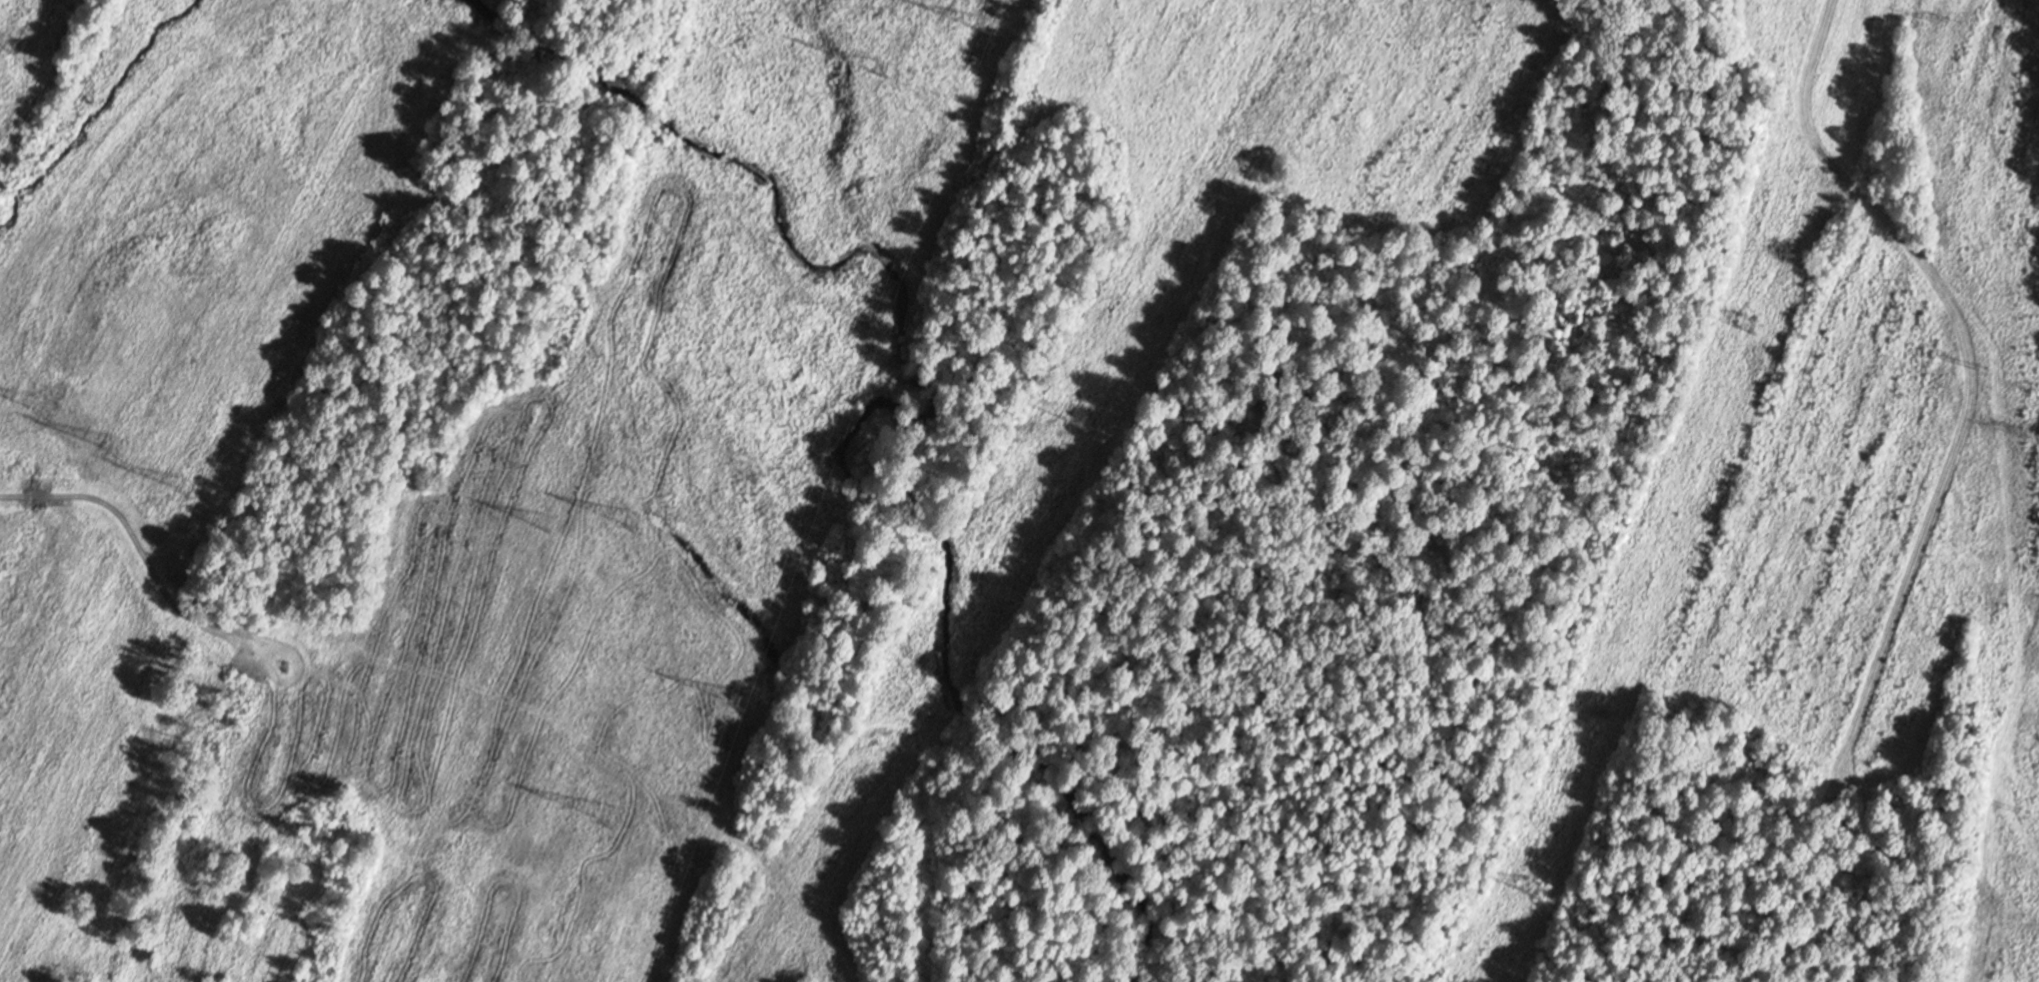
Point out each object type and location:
power tower: (1949, 22)
power tower: (977, 26)
power tower: (8, 41)
power tower: (873, 68)
power tower: (1748, 323)
power tower: (1985, 366)
power tower: (44, 406)
power tower: (1078, 418)
power tower: (114, 466)
power tower: (184, 486)
power tower: (627, 520)
power tower: (543, 526)
power tower: (735, 695)
power tower: (2024, 813)
power tower: (606, 816)
power tower: (1533, 891)

